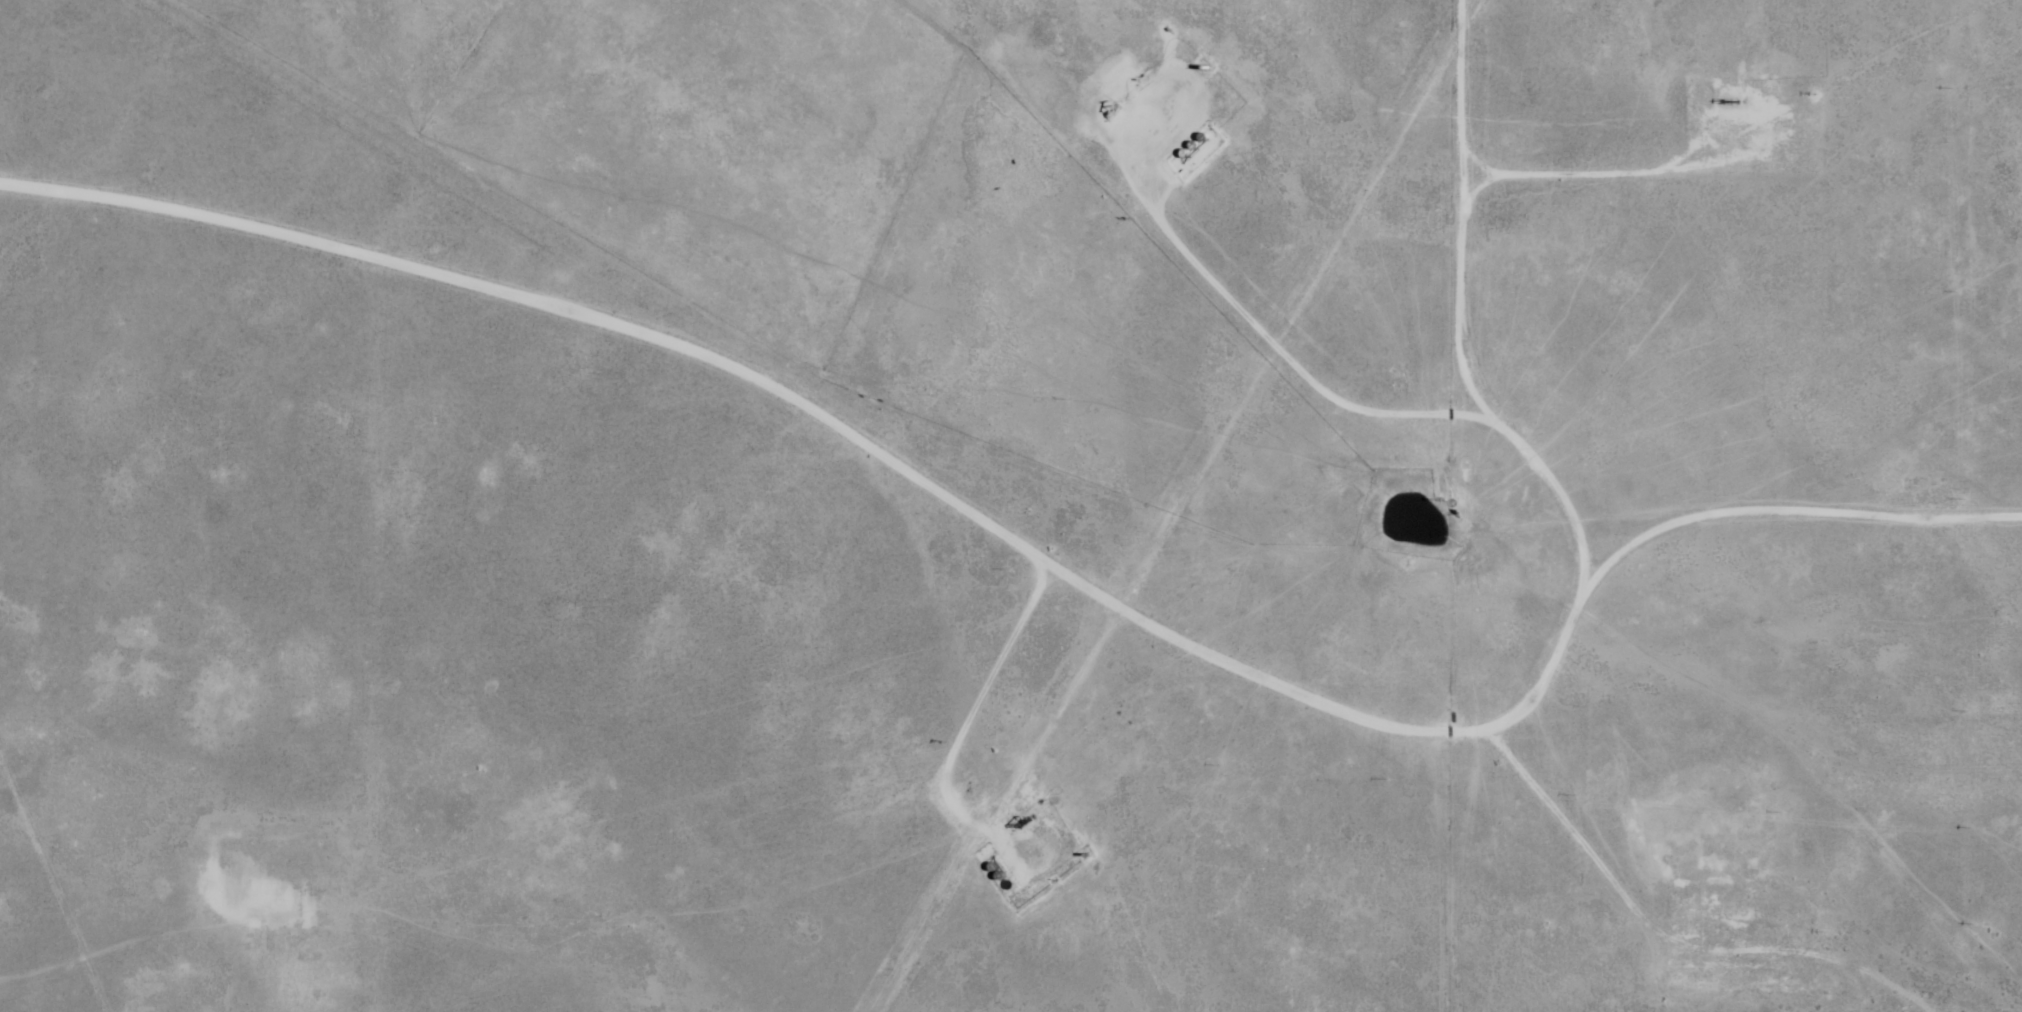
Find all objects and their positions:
road: (1098, 157)
road: (614, 355)
road: (1001, 718)

